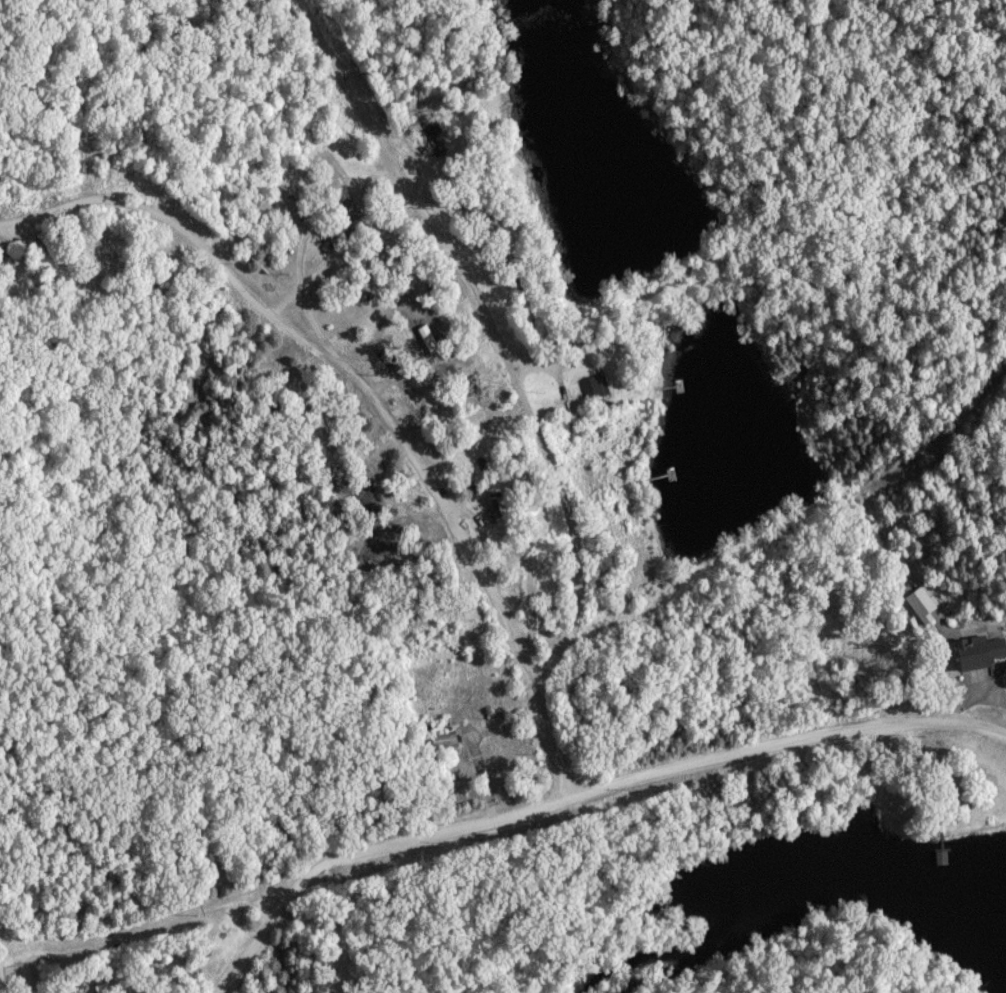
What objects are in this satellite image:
building: (432, 138)
building: (353, 212)
building: (47, 236)
building: (52, 263)
road: (88, 290)
road: (493, 332)
road: (329, 362)
building: (596, 388)
building: (315, 409)
building: (358, 492)
building: (606, 492)
building: (501, 510)
road: (882, 531)
building: (531, 580)
building: (922, 603)
building: (982, 651)
building: (445, 740)
road: (547, 745)
road: (579, 794)
road: (343, 922)
building: (85, 991)

